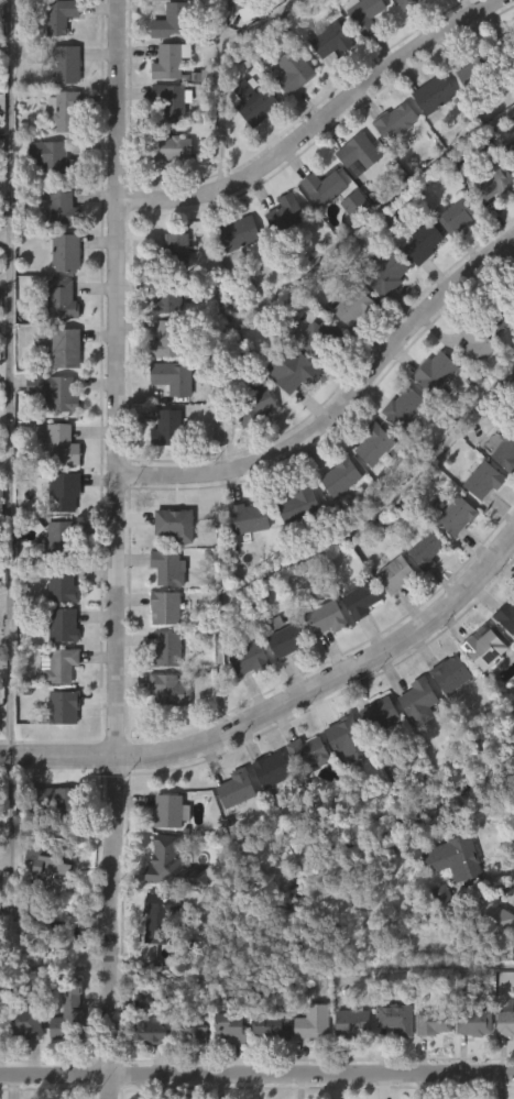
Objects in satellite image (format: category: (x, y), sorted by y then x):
building: (480, 0)
building: (491, 0)
building: (275, 2)
building: (408, 3)
building: (1, 8)
building: (238, 10)
building: (448, 11)
building: (365, 13)
building: (61, 15)
building: (173, 20)
building: (161, 23)
building: (1, 28)
building: (407, 30)
building: (329, 41)
building: (507, 48)
building: (360, 56)
building: (171, 62)
building: (67, 63)
building: (475, 69)
building: (295, 70)
road: (226, 78)
building: (326, 85)
building: (433, 94)
building: (512, 96)
building: (173, 98)
building: (256, 102)
building: (66, 109)
building: (288, 116)
building: (467, 117)
building: (396, 120)
road: (321, 127)
building: (428, 138)
building: (249, 145)
building: (510, 147)
building: (172, 149)
building: (361, 151)
building: (54, 157)
building: (391, 164)
building: (495, 183)
building: (325, 186)
building: (32, 190)
building: (165, 191)
building: (357, 202)
building: (63, 206)
building: (288, 212)
building: (458, 213)
building: (490, 227)
building: (318, 231)
building: (240, 234)
building: (423, 242)
building: (177, 246)
building: (347, 246)
building: (67, 252)
building: (280, 257)
building: (450, 259)
road: (314, 266)
building: (385, 273)
building: (233, 277)
building: (417, 287)
building: (168, 296)
building: (63, 298)
building: (354, 305)
building: (497, 311)
building: (382, 317)
building: (320, 337)
building: (168, 339)
building: (474, 342)
building: (67, 348)
building: (349, 351)
building: (493, 365)
building: (294, 369)
building: (437, 373)
building: (174, 375)
road: (9, 377)
building: (315, 381)
building: (470, 386)
building: (56, 392)
building: (254, 405)
building: (406, 406)
building: (287, 414)
road: (341, 416)
building: (429, 416)
building: (169, 428)
building: (376, 443)
building: (64, 446)
building: (505, 449)
building: (251, 450)
building: (400, 450)
building: (162, 472)
building: (342, 474)
building: (485, 480)
building: (65, 491)
building: (370, 491)
building: (1, 492)
building: (502, 494)
building: (302, 503)
building: (459, 515)
building: (252, 517)
building: (336, 519)
building: (479, 524)
building: (175, 525)
building: (61, 539)
road: (322, 539)
building: (294, 548)
building: (427, 548)
road: (117, 549)
building: (452, 559)
building: (243, 562)
building: (169, 568)
building: (398, 574)
building: (64, 586)
building: (420, 593)
building: (359, 597)
building: (166, 608)
building: (506, 617)
building: (329, 618)
building: (391, 618)
building: (63, 625)
building: (287, 637)
building: (356, 644)
building: (168, 650)
building: (486, 650)
building: (251, 659)
building: (504, 660)
building: (321, 661)
building: (62, 666)
building: (452, 674)
building: (282, 683)
building: (171, 690)
building: (480, 691)
building: (242, 702)
building: (422, 702)
building: (62, 706)
road: (281, 710)
building: (383, 715)
building: (446, 717)
building: (164, 733)
building: (350, 739)
building: (415, 746)
building: (58, 751)
building: (309, 751)
building: (374, 758)
building: (273, 769)
building: (341, 782)
building: (238, 790)
building: (303, 796)
building: (59, 804)
building: (168, 811)
building: (266, 813)
building: (231, 833)
building: (47, 843)
building: (458, 858)
building: (169, 862)
building: (45, 865)
building: (446, 898)
building: (43, 905)
building: (157, 915)
building: (496, 915)
building: (154, 959)
building: (490, 959)
road: (55, 965)
road: (459, 966)
building: (70, 1012)
building: (397, 1016)
building: (23, 1018)
building: (311, 1021)
building: (475, 1021)
building: (350, 1022)
building: (435, 1022)
building: (506, 1022)
building: (264, 1027)
building: (228, 1029)
building: (149, 1031)
building: (188, 1031)
building: (63, 1053)
building: (391, 1062)
building: (308, 1065)
building: (347, 1065)
building: (428, 1065)
building: (503, 1066)
building: (21, 1067)
building: (469, 1067)
building: (225, 1071)
road: (256, 1071)
building: (265, 1071)
building: (190, 1074)
building: (145, 1075)

